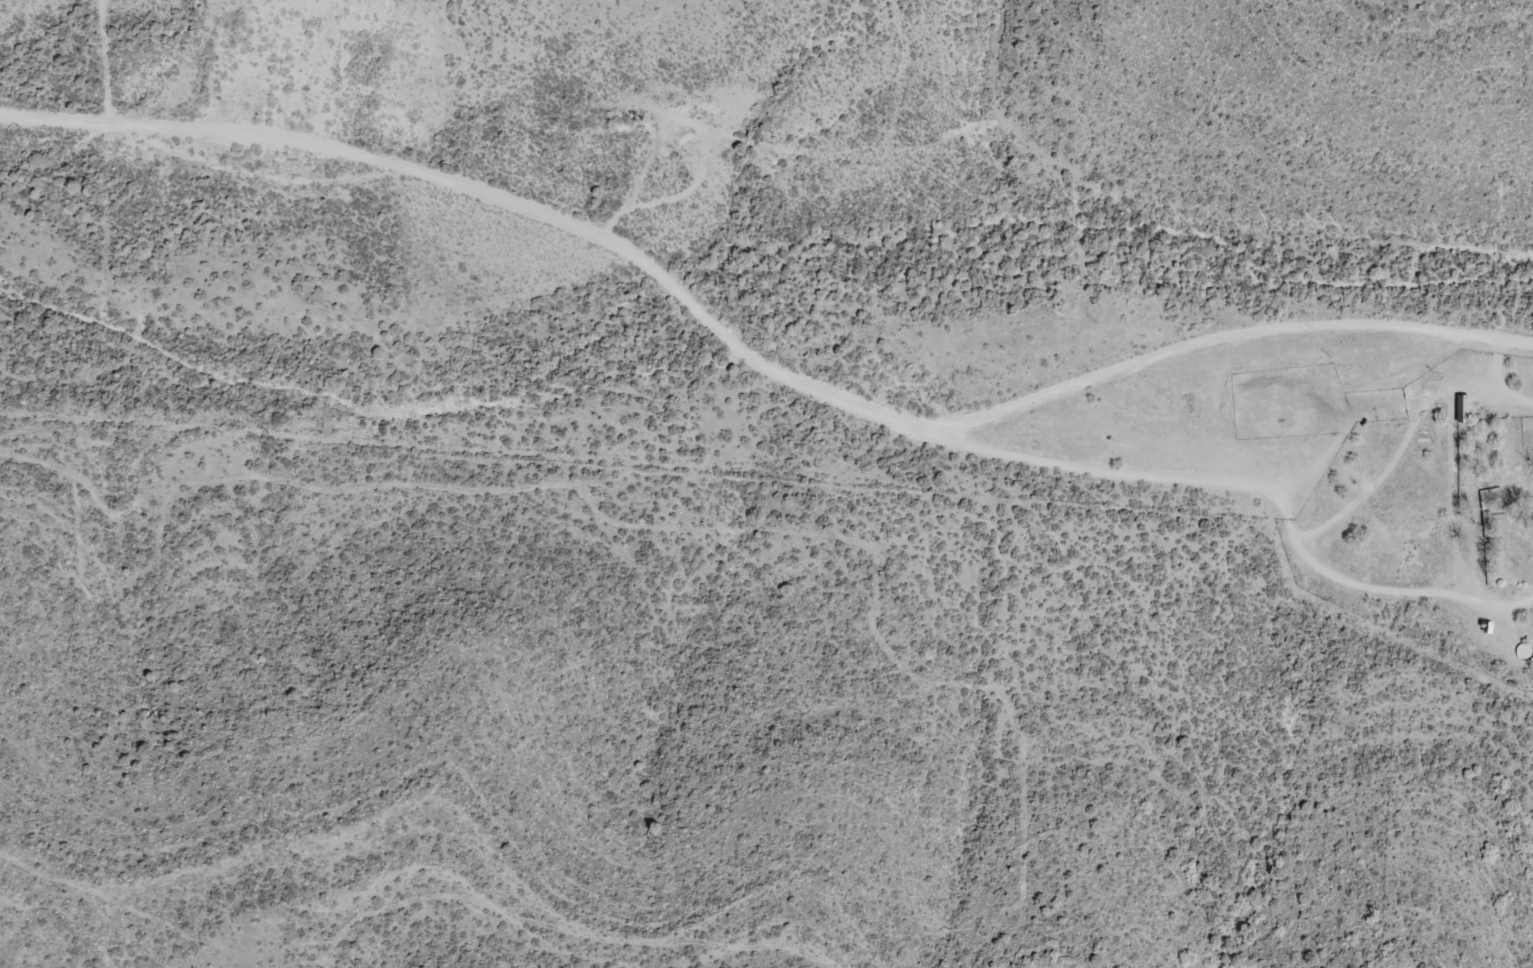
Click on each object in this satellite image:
road: (786, 355)
road: (1243, 382)

